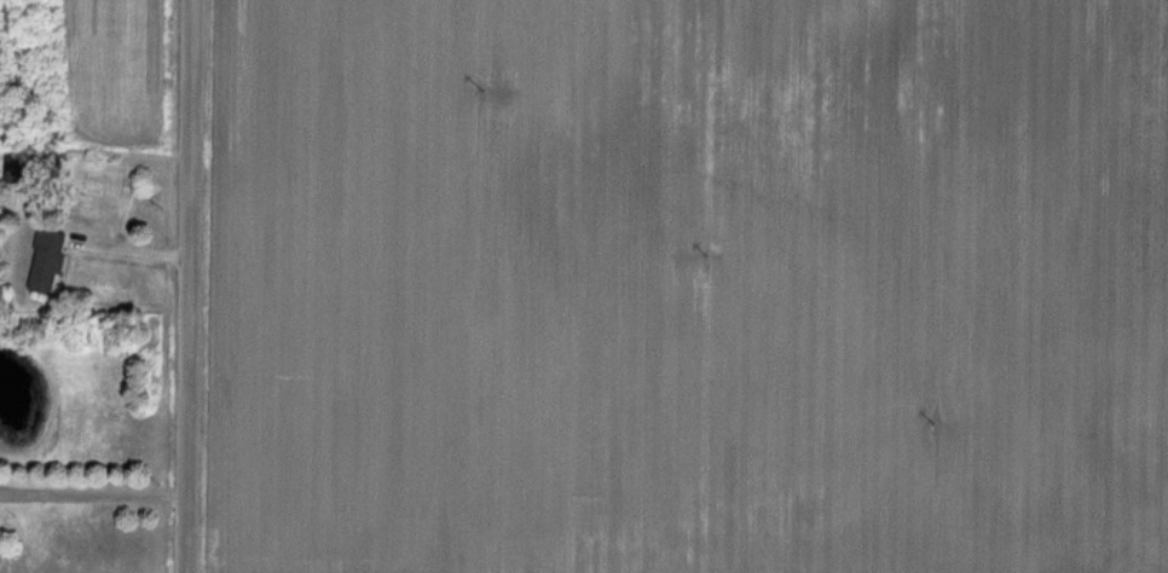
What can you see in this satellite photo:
building: (52, 262)
road: (196, 286)
road: (97, 494)

